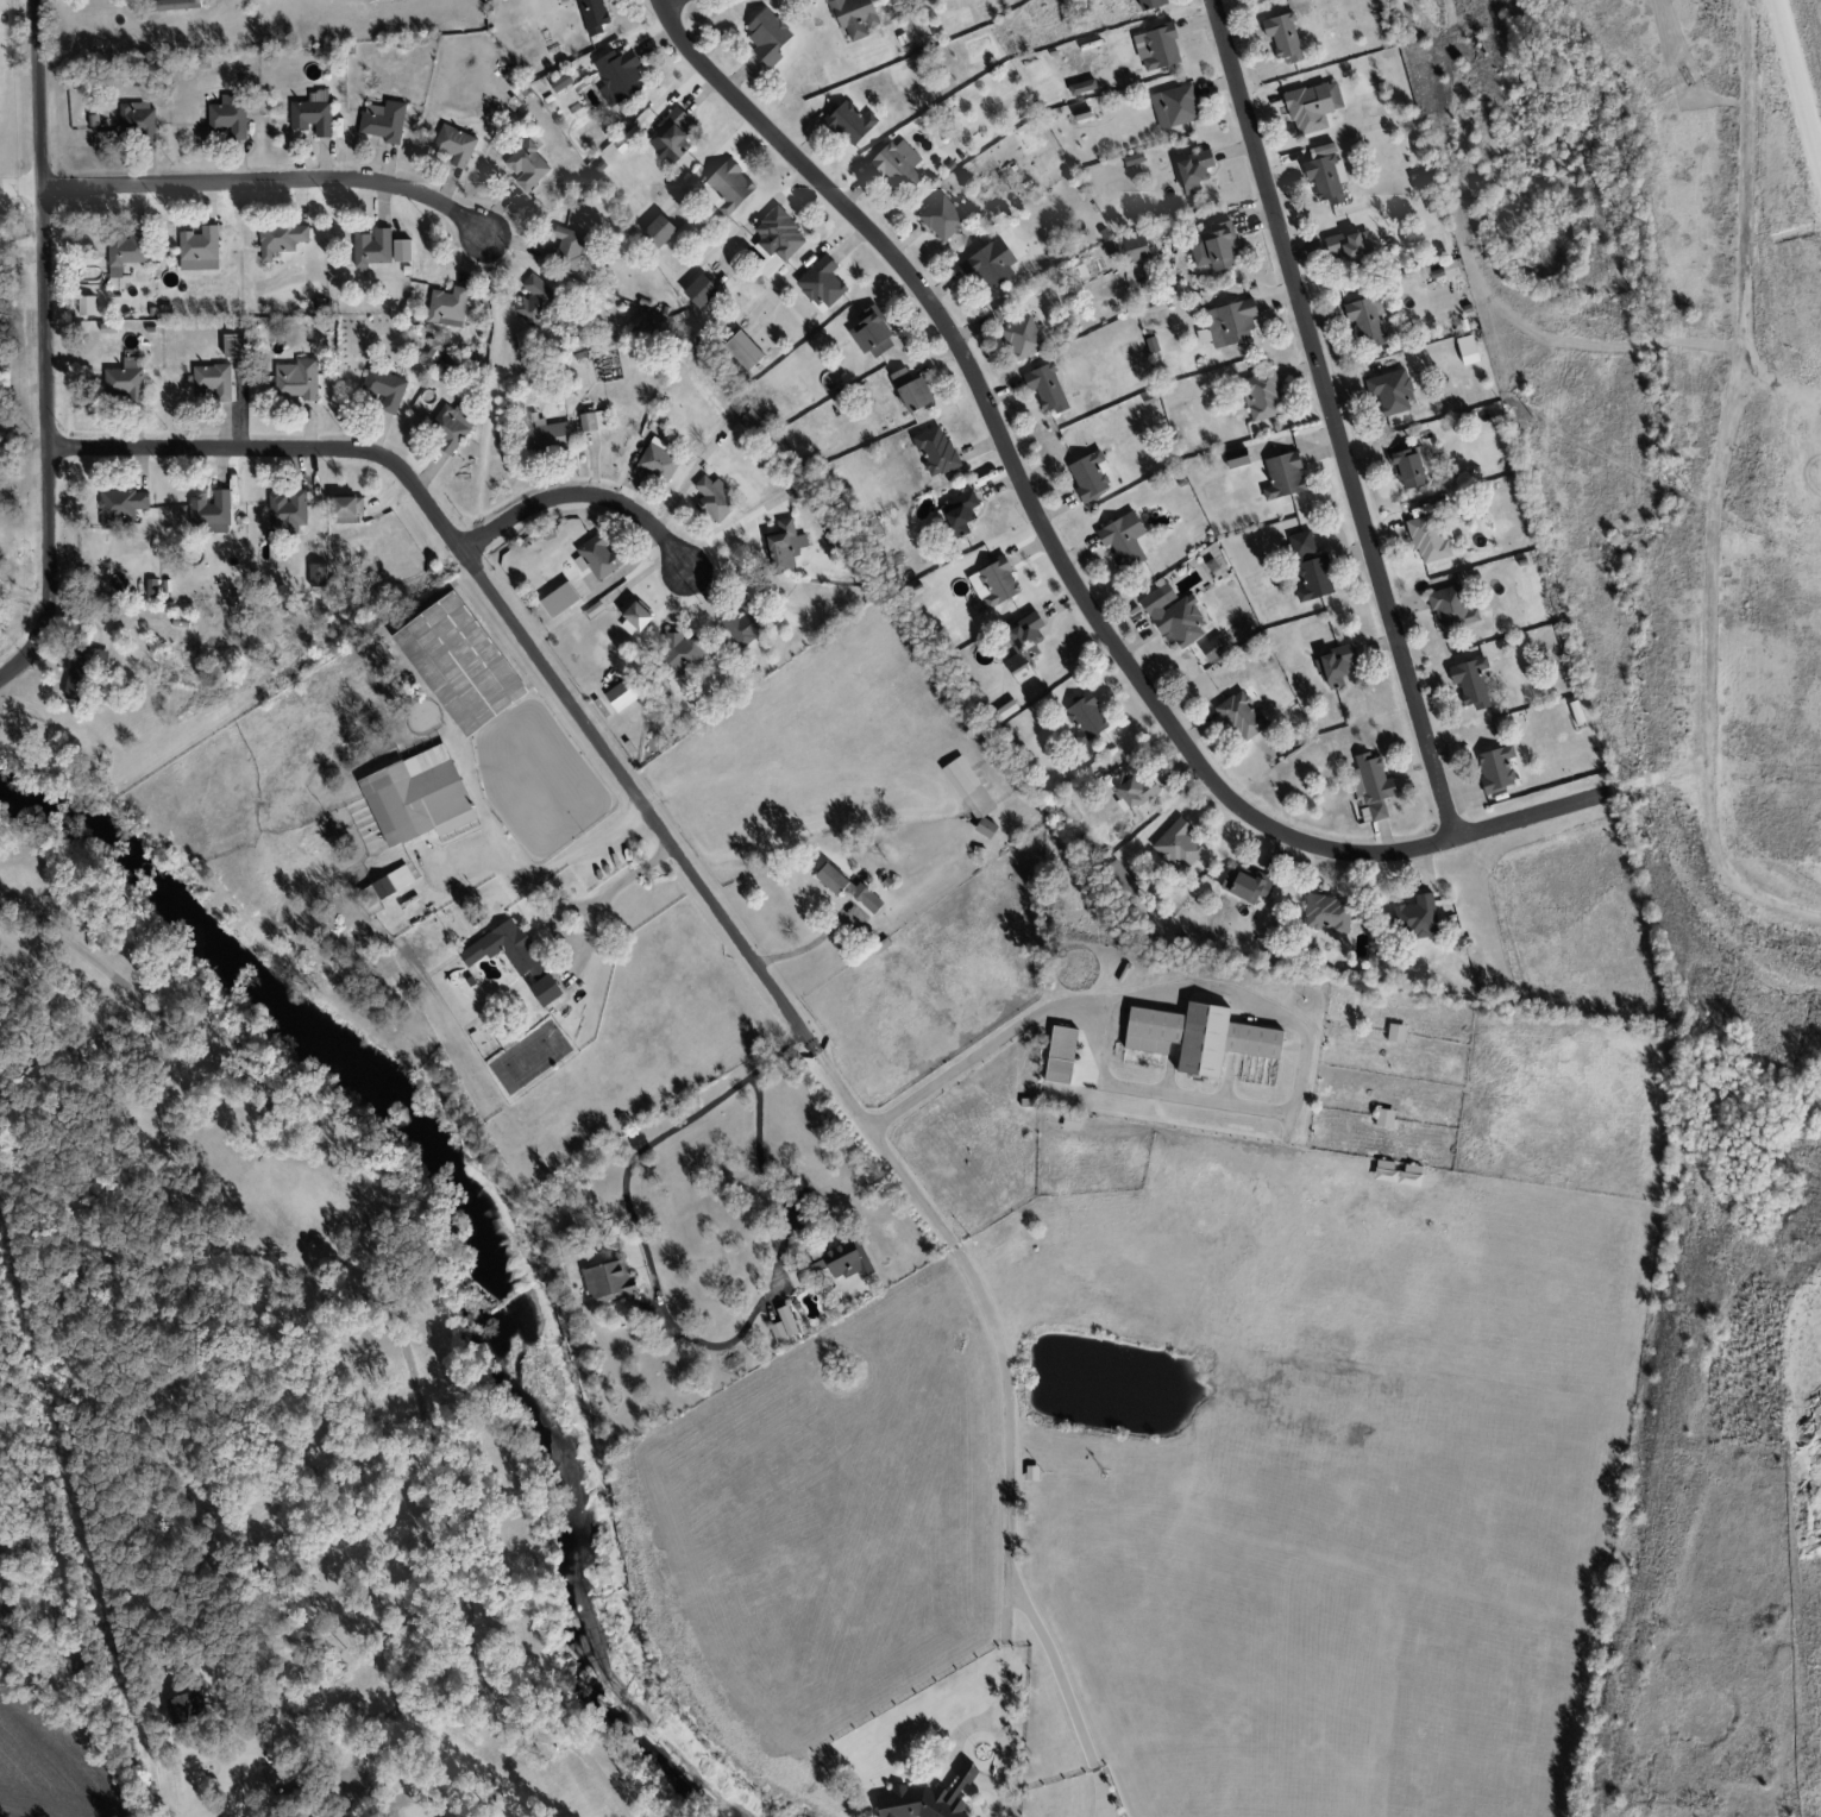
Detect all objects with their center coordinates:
building: (921, 0)
road: (670, 4)
building: (1151, 4)
building: (594, 15)
building: (855, 18)
building: (1283, 36)
building: (768, 37)
building: (1157, 46)
building: (618, 76)
building: (561, 82)
road: (1797, 87)
building: (1175, 106)
building: (1313, 106)
building: (1082, 113)
building: (230, 115)
building: (313, 117)
building: (137, 119)
building: (384, 120)
building: (850, 121)
building: (671, 136)
building: (456, 144)
building: (1134, 158)
building: (898, 164)
building: (527, 165)
building: (1194, 170)
building: (1325, 174)
road: (268, 182)
building: (728, 188)
building: (943, 218)
building: (659, 231)
building: (281, 238)
building: (777, 240)
road: (21, 243)
building: (1350, 244)
building: (373, 246)
building: (1216, 246)
building: (566, 247)
building: (200, 249)
building: (1136, 249)
building: (126, 250)
building: (402, 250)
building: (990, 264)
building: (822, 282)
building: (701, 290)
building: (535, 300)
building: (87, 304)
building: (448, 306)
building: (1365, 320)
building: (1229, 323)
building: (872, 333)
building: (1023, 337)
building: (1151, 344)
building: (236, 345)
building: (1468, 348)
building: (745, 350)
road: (45, 351)
building: (297, 378)
building: (126, 379)
building: (213, 381)
building: (385, 386)
building: (1047, 388)
building: (912, 390)
building: (1390, 390)
building: (1262, 396)
building: (592, 420)
road: (1332, 420)
building: (752, 421)
building: (448, 427)
building: (546, 438)
building: (936, 449)
building: (1236, 457)
building: (658, 459)
building: (1408, 465)
building: (1091, 474)
building: (1283, 476)
road: (578, 497)
building: (712, 498)
building: (123, 507)
building: (347, 509)
building: (213, 511)
building: (960, 511)
building: (1427, 537)
building: (1124, 539)
building: (785, 543)
building: (599, 555)
road: (1061, 562)
building: (1311, 567)
building: (318, 574)
building: (994, 583)
building: (152, 587)
building: (560, 599)
building: (1451, 608)
building: (636, 612)
building: (1174, 614)
building: (741, 627)
building: (1024, 646)
building: (1213, 647)
building: (682, 652)
building: (460, 664)
building: (1338, 665)
building: (83, 668)
building: (1470, 681)
building: (622, 694)
building: (1006, 710)
building: (1242, 716)
building: (1086, 718)
building: (1496, 768)
building: (1371, 786)
building: (1135, 790)
building: (972, 793)
building: (419, 796)
building: (1179, 844)
road: (547, 867)
building: (1245, 884)
building: (388, 885)
building: (847, 888)
road: (705, 893)
road: (602, 898)
building: (1327, 914)
building: (1417, 917)
road: (810, 943)
building: (514, 957)
road: (1248, 999)
building: (1396, 1032)
building: (1199, 1036)
building: (1060, 1055)
building: (1384, 1117)
building: (1072, 1121)
building: (1398, 1172)
road: (379, 1224)
building: (842, 1259)
building: (609, 1281)
road: (667, 1313)
building: (784, 1325)
road: (1067, 1693)
building: (189, 1708)
crop: (14, 1722)
road: (538, 1730)
road: (338, 1778)
road: (375, 1796)
road: (423, 1798)
building: (928, 1798)
road: (393, 1812)
building: (326, 1816)

